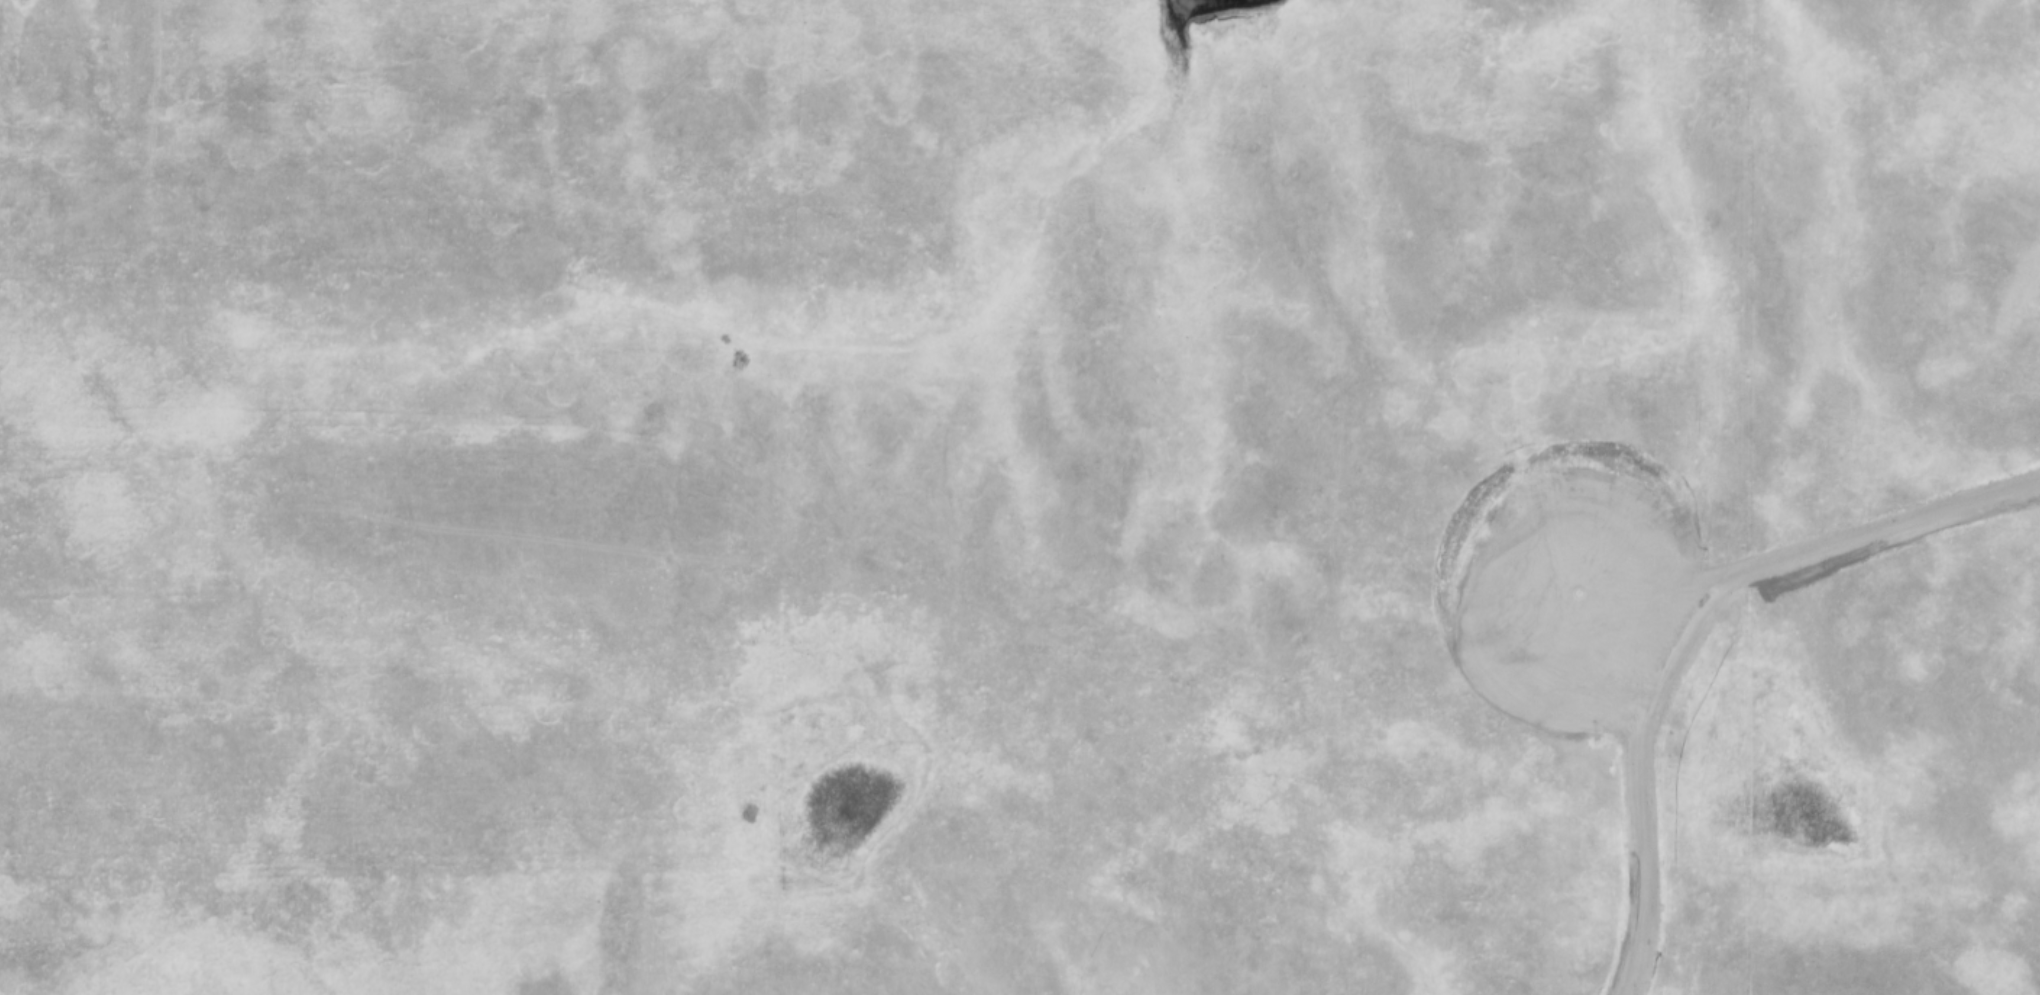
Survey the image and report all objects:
wind turbine: (1575, 586)

